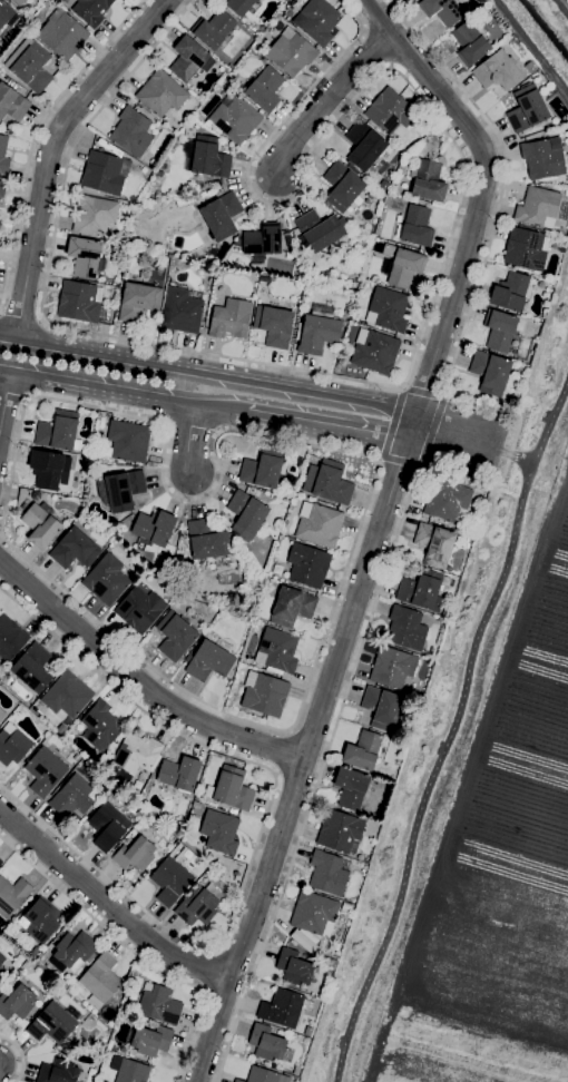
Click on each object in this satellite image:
building: (19, 2)
building: (239, 6)
building: (91, 10)
building: (442, 10)
building: (6, 12)
building: (317, 20)
building: (214, 29)
building: (62, 33)
building: (10, 36)
building: (470, 42)
building: (1, 45)
building: (291, 51)
building: (189, 58)
building: (30, 65)
building: (499, 70)
building: (265, 89)
building: (161, 92)
road: (329, 99)
building: (12, 102)
building: (527, 109)
building: (390, 114)
building: (235, 119)
building: (131, 131)
building: (189, 131)
road: (36, 136)
building: (365, 147)
road: (56, 150)
building: (3, 154)
building: (208, 157)
building: (542, 158)
building: (144, 169)
building: (158, 173)
building: (102, 175)
building: (427, 180)
building: (342, 186)
building: (2, 187)
building: (538, 207)
building: (94, 215)
building: (222, 215)
building: (417, 226)
building: (319, 229)
road: (489, 236)
building: (263, 239)
building: (526, 249)
building: (84, 256)
building: (401, 265)
building: (510, 292)
building: (138, 301)
building: (80, 302)
building: (388, 309)
building: (182, 311)
building: (346, 314)
road: (20, 316)
building: (231, 318)
building: (274, 325)
building: (317, 329)
building: (500, 329)
building: (341, 340)
road: (417, 347)
building: (374, 351)
building: (342, 352)
building: (340, 362)
road: (210, 372)
building: (490, 372)
road: (403, 386)
road: (424, 390)
road: (124, 391)
road: (13, 392)
road: (445, 393)
road: (4, 406)
road: (550, 420)
road: (332, 427)
building: (58, 431)
road: (192, 436)
road: (460, 439)
building: (127, 441)
road: (519, 456)
road: (400, 459)
road: (378, 460)
road: (420, 465)
building: (48, 469)
building: (262, 469)
building: (327, 482)
building: (124, 489)
building: (448, 501)
building: (246, 514)
building: (39, 522)
building: (319, 524)
building: (155, 527)
road: (380, 529)
building: (207, 540)
building: (434, 544)
building: (75, 549)
building: (309, 565)
building: (106, 579)
building: (421, 588)
building: (292, 607)
building: (139, 609)
building: (407, 628)
building: (175, 636)
building: (10, 638)
road: (125, 642)
building: (277, 651)
building: (209, 660)
building: (32, 667)
building: (392, 668)
road: (141, 678)
building: (264, 694)
building: (67, 695)
building: (381, 708)
building: (1, 715)
road: (336, 722)
building: (100, 725)
building: (12, 744)
building: (363, 750)
road: (282, 753)
building: (137, 754)
building: (45, 770)
road: (433, 771)
building: (180, 774)
building: (351, 788)
building: (231, 789)
building: (74, 797)
park: (478, 805)
building: (107, 825)
building: (219, 832)
building: (341, 832)
road: (259, 834)
building: (135, 854)
building: (1, 862)
building: (327, 873)
building: (170, 881)
building: (12, 894)
road: (108, 904)
building: (199, 906)
building: (315, 915)
building: (42, 919)
building: (305, 942)
building: (72, 950)
road: (131, 951)
building: (1, 957)
building: (329, 962)
building: (294, 967)
road: (208, 970)
building: (2, 972)
building: (101, 977)
building: (17, 1002)
building: (159, 1003)
building: (285, 1007)
building: (55, 1022)
building: (151, 1040)
building: (267, 1042)
building: (66, 1046)
road: (20, 1054)
building: (296, 1070)
building: (58, 1071)
building: (131, 1071)
building: (264, 1075)

